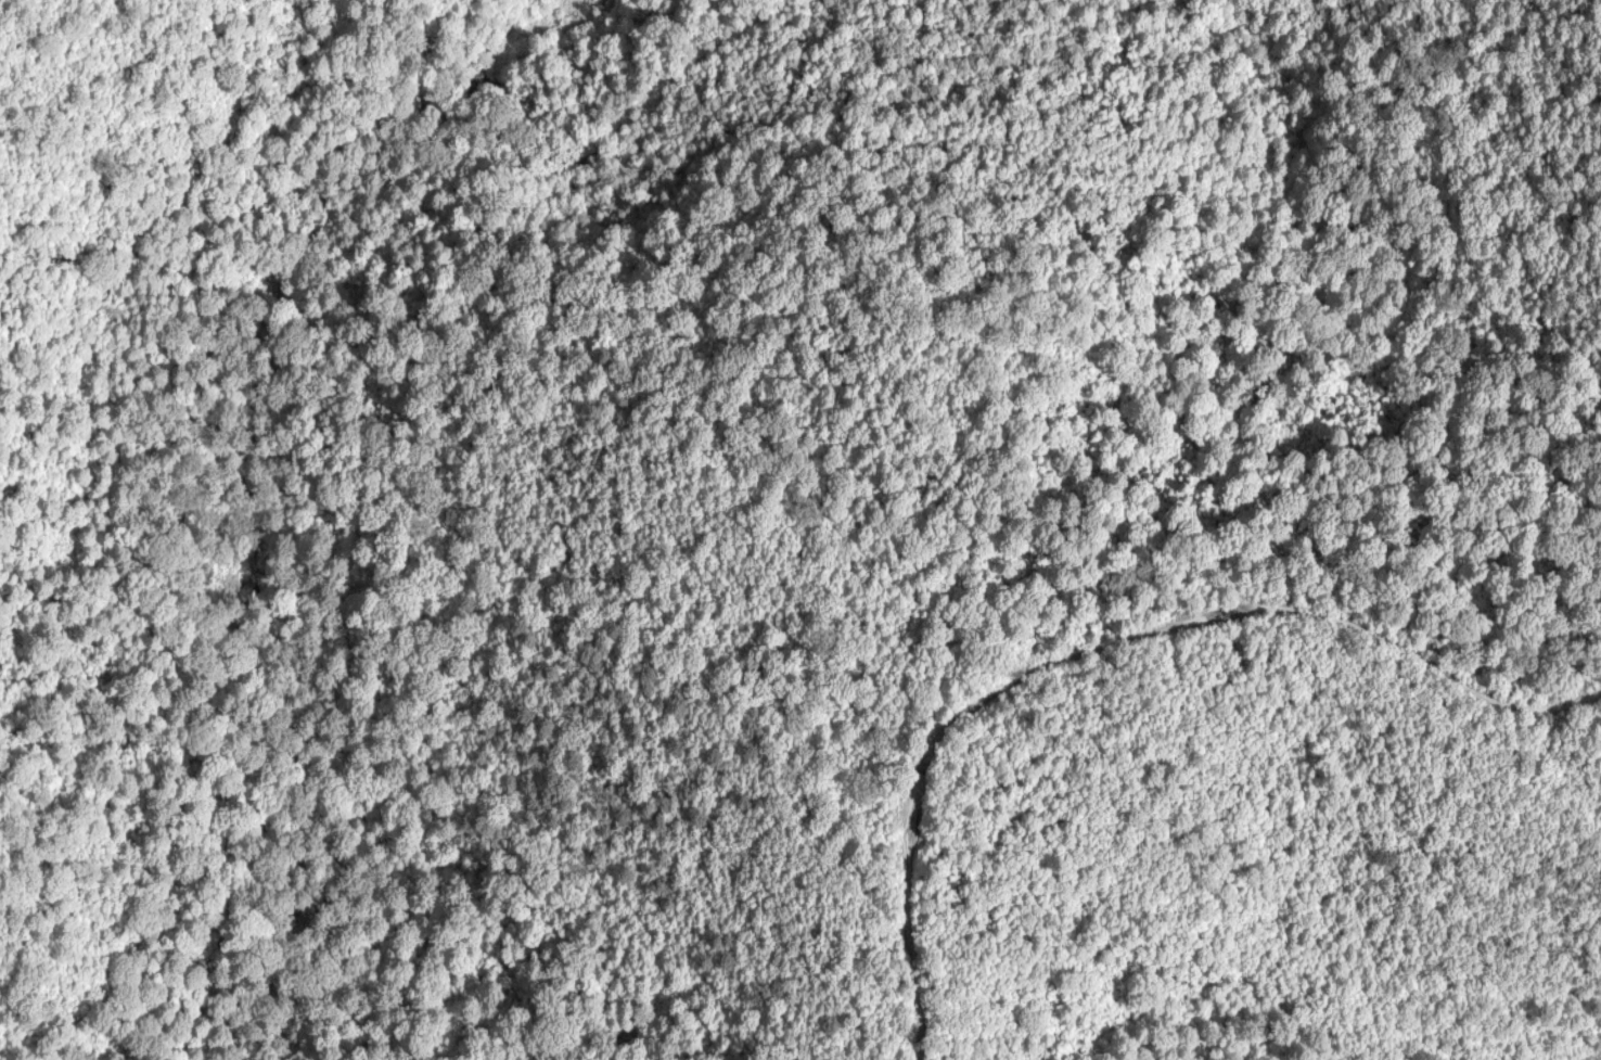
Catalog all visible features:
road: (1109, 648)

